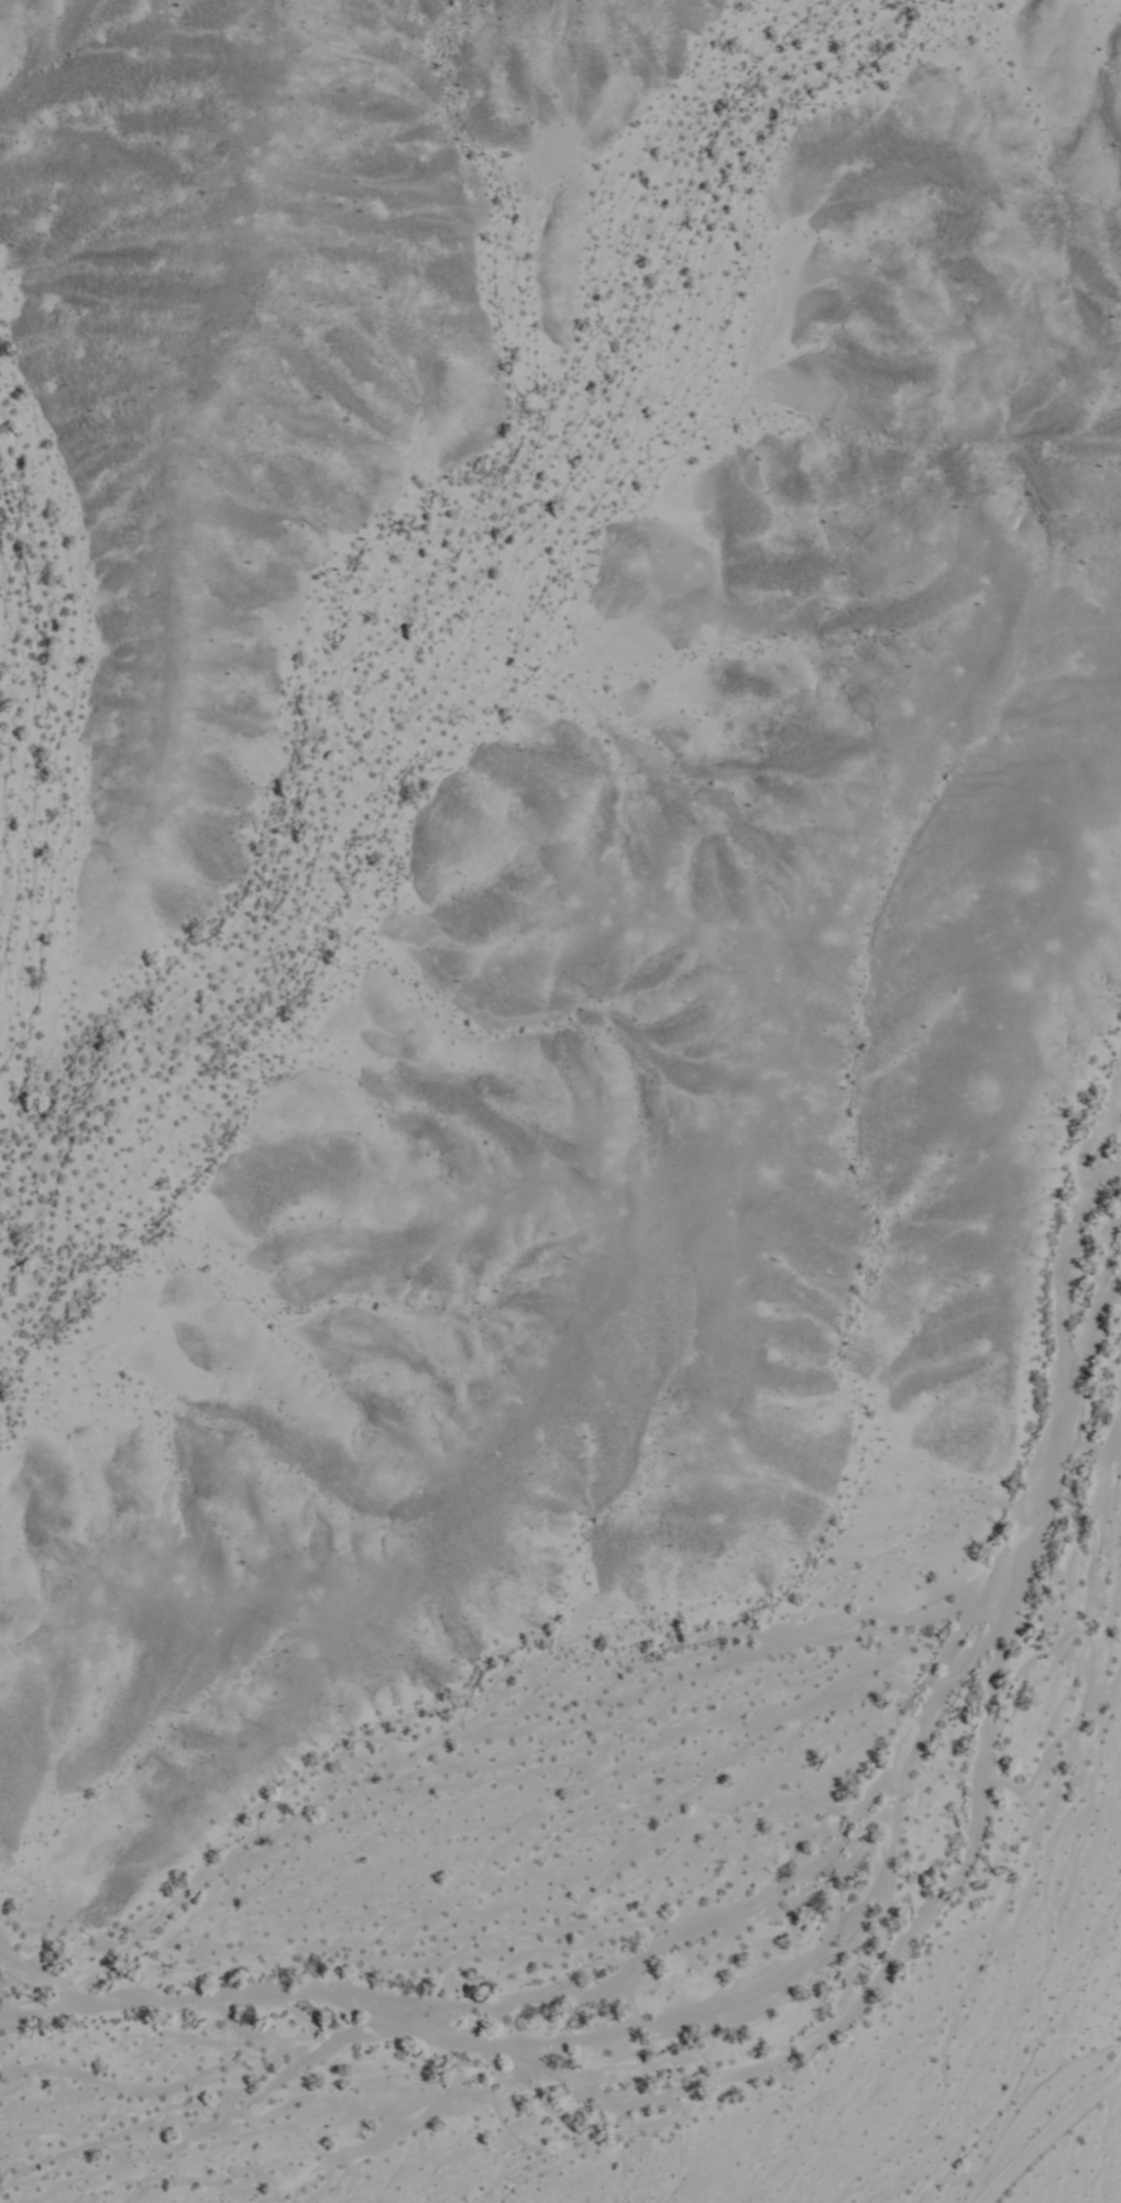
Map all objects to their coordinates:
road: (1040, 2104)

